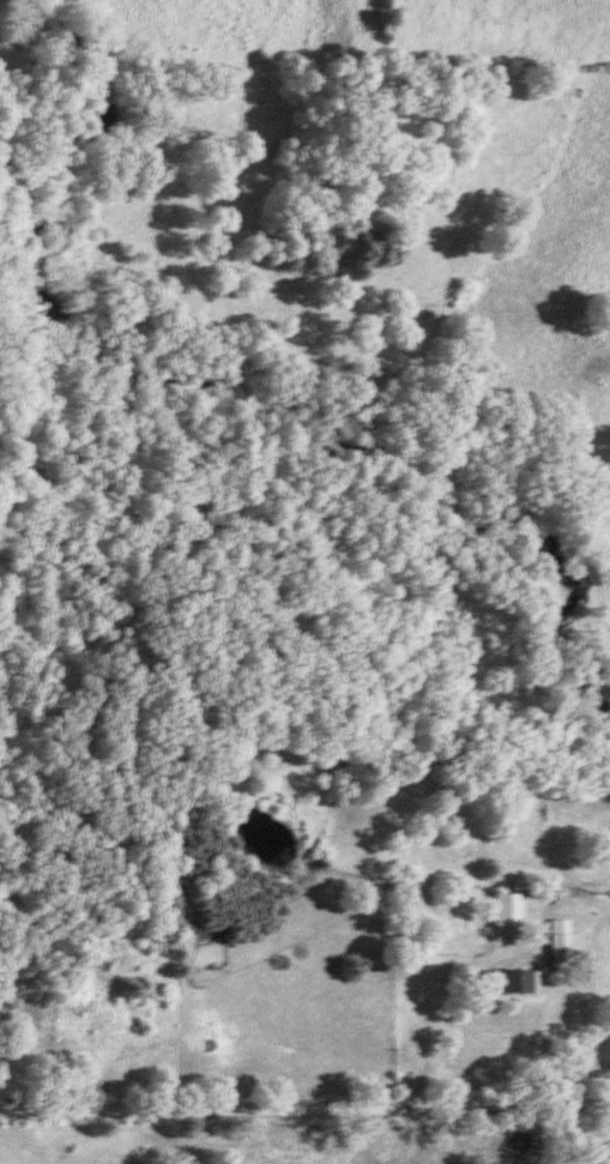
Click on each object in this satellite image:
building: (500, 910)
building: (193, 928)
building: (555, 943)
building: (509, 982)
road: (454, 989)
road: (304, 1114)
building: (519, 1142)

